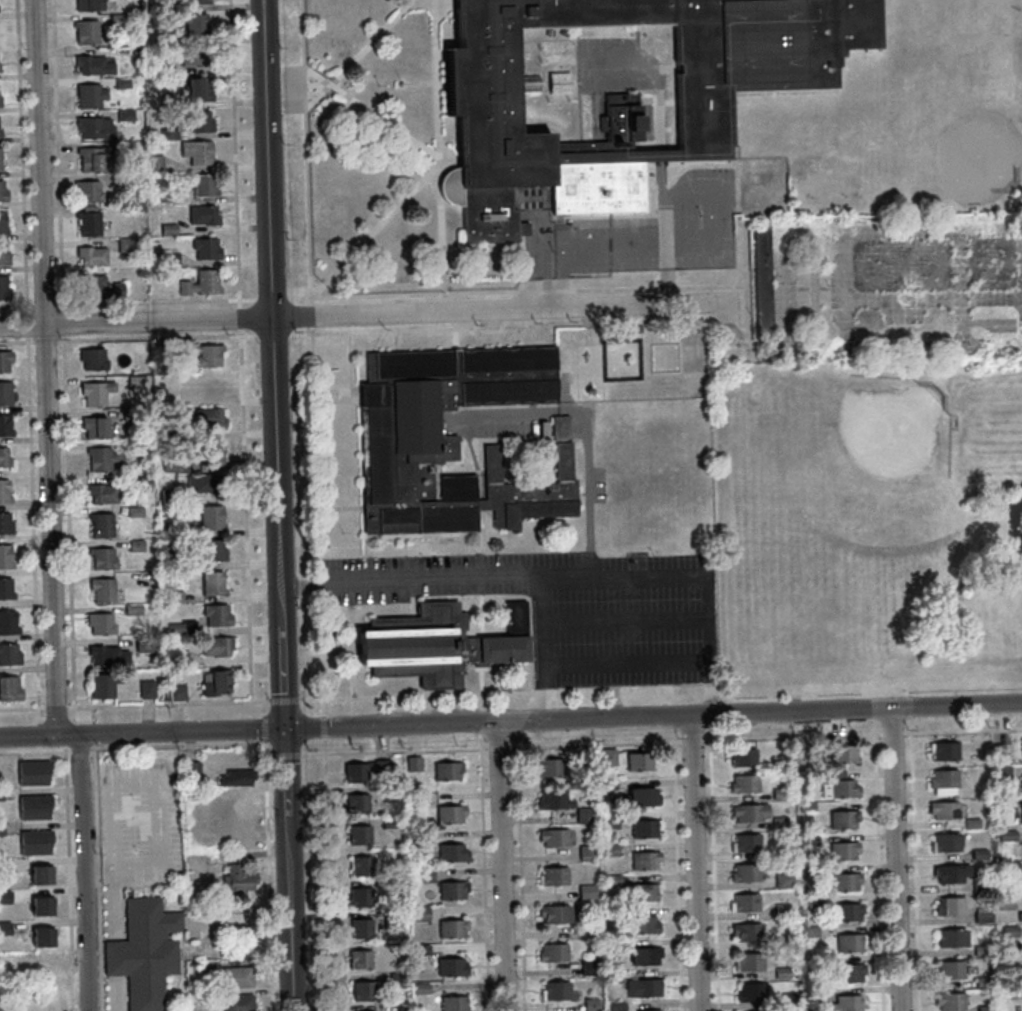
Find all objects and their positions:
building: (194, 1)
building: (88, 5)
building: (160, 6)
building: (116, 18)
building: (192, 23)
building: (85, 31)
building: (168, 38)
building: (134, 51)
building: (193, 56)
building: (92, 65)
building: (163, 70)
building: (121, 83)
building: (196, 89)
building: (0, 95)
building: (89, 95)
building: (626, 97)
building: (168, 99)
building: (124, 115)
building: (198, 120)
building: (94, 127)
building: (167, 133)
building: (196, 152)
building: (93, 157)
building: (0, 158)
road: (266, 158)
building: (153, 163)
building: (202, 185)
road: (708, 190)
building: (88, 191)
building: (2, 193)
building: (166, 196)
building: (202, 215)
building: (2, 223)
building: (88, 223)
building: (167, 228)
building: (125, 245)
road: (564, 247)
building: (205, 248)
building: (3, 255)
building: (91, 256)
building: (168, 258)
building: (761, 281)
building: (200, 283)
building: (99, 287)
building: (3, 288)
road: (155, 304)
road: (362, 315)
road: (155, 339)
building: (185, 350)
road: (240, 350)
road: (63, 354)
building: (208, 355)
road: (312, 356)
building: (92, 358)
building: (5, 360)
road: (27, 362)
road: (44, 368)
building: (134, 381)
building: (208, 387)
building: (95, 392)
building: (5, 393)
building: (208, 417)
building: (4, 425)
building: (93, 427)
building: (173, 429)
building: (542, 430)
park: (895, 430)
building: (455, 440)
building: (141, 446)
building: (208, 452)
building: (3, 458)
building: (99, 458)
building: (174, 464)
building: (140, 482)
building: (207, 482)
building: (3, 492)
building: (102, 493)
building: (168, 496)
building: (134, 511)
building: (210, 517)
building: (5, 524)
building: (100, 524)
road: (277, 524)
building: (169, 528)
park: (869, 529)
building: (135, 545)
building: (210, 549)
building: (5, 556)
building: (103, 558)
building: (169, 561)
road: (583, 575)
building: (211, 583)
building: (5, 589)
building: (102, 589)
building: (173, 596)
building: (132, 610)
building: (216, 614)
building: (7, 623)
building: (100, 623)
building: (174, 628)
building: (143, 644)
building: (215, 646)
building: (440, 646)
building: (9, 654)
building: (106, 655)
building: (179, 657)
road: (684, 661)
building: (215, 681)
building: (103, 685)
road: (711, 687)
building: (9, 688)
building: (146, 689)
building: (175, 692)
road: (545, 693)
road: (284, 699)
road: (311, 699)
street lamp: (307, 702)
road: (169, 704)
road: (263, 706)
road: (57, 709)
road: (22, 710)
road: (874, 712)
road: (911, 712)
road: (93, 716)
road: (652, 717)
road: (323, 724)
road: (264, 726)
traffic signals: (284, 730)
road: (169, 732)
road: (863, 732)
road: (94, 735)
road: (28, 737)
road: (39, 737)
road: (692, 739)
road: (594, 742)
road: (497, 745)
road: (177, 746)
road: (94, 747)
road: (266, 748)
road: (404, 749)
road: (40, 750)
building: (944, 750)
road: (79, 751)
building: (1002, 751)
road: (34, 752)
road: (312, 753)
building: (785, 753)
building: (843, 753)
road: (286, 754)
road: (269, 755)
building: (583, 757)
building: (606, 757)
building: (742, 757)
building: (638, 761)
road: (285, 763)
building: (412, 763)
building: (549, 767)
building: (365, 770)
building: (446, 771)
building: (32, 772)
building: (190, 774)
building: (836, 776)
building: (814, 777)
building: (236, 778)
building: (1000, 778)
building: (944, 781)
building: (606, 784)
building: (744, 784)
building: (839, 789)
building: (0, 794)
building: (390, 794)
building: (780, 794)
building: (635, 798)
building: (414, 799)
building: (552, 800)
building: (1005, 802)
building: (356, 803)
building: (33, 807)
building: (806, 807)
building: (945, 810)
building: (748, 813)
building: (449, 814)
building: (583, 815)
building: (1021, 815)
building: (843, 819)
building: (612, 820)
building: (389, 822)
building: (778, 822)
building: (973, 822)
building: (1, 828)
building: (644, 828)
building: (1008, 833)
building: (358, 835)
building: (553, 837)
building: (415, 839)
building: (809, 840)
building: (946, 841)
building: (34, 842)
building: (746, 842)
building: (609, 850)
building: (843, 851)
building: (585, 852)
building: (451, 853)
building: (980, 853)
road: (895, 859)
building: (643, 860)
road: (694, 863)
road: (878, 863)
road: (915, 863)
building: (4, 865)
building: (361, 866)
road: (484, 866)
road: (500, 866)
building: (1013, 866)
road: (520, 867)
road: (83, 873)
road: (327, 873)
building: (744, 873)
building: (953, 873)
building: (40, 875)
building: (423, 875)
road: (678, 875)
road: (713, 875)
building: (552, 876)
building: (237, 879)
building: (613, 880)
building: (783, 881)
building: (844, 882)
road: (269, 883)
building: (451, 890)
building: (586, 892)
building: (643, 892)
building: (4, 897)
building: (360, 897)
building: (1007, 900)
building: (195, 901)
building: (744, 903)
road: (288, 904)
building: (813, 904)
building: (951, 905)
building: (40, 906)
building: (781, 910)
building: (847, 912)
building: (418, 913)
building: (553, 913)
building: (984, 915)
building: (1020, 915)
building: (392, 919)
building: (641, 925)
building: (4, 928)
building: (360, 928)
building: (451, 929)
building: (746, 931)
building: (1011, 931)
building: (810, 932)
building: (588, 933)
building: (41, 937)
building: (953, 938)
building: (780, 942)
building: (849, 942)
building: (614, 946)
building: (419, 949)
building: (983, 949)
building: (143, 952)
building: (552, 953)
building: (644, 956)
building: (359, 959)
building: (749, 962)
building: (811, 963)
building: (206, 967)
building: (450, 967)
building: (588, 967)
building: (950, 969)
building: (782, 973)
building: (849, 973)
building: (613, 976)
building: (236, 977)
building: (396, 979)
building: (985, 981)
building: (420, 988)
building: (642, 988)
building: (362, 990)
building: (554, 990)
building: (751, 992)
building: (1007, 993)
building: (811, 995)
building: (789, 1000)
building: (950, 1000)
building: (237, 1003)
building: (453, 1003)
building: (590, 1004)
building: (845, 1004)
building: (616, 1006)
building: (986, 1008)
building: (652, 1010)

